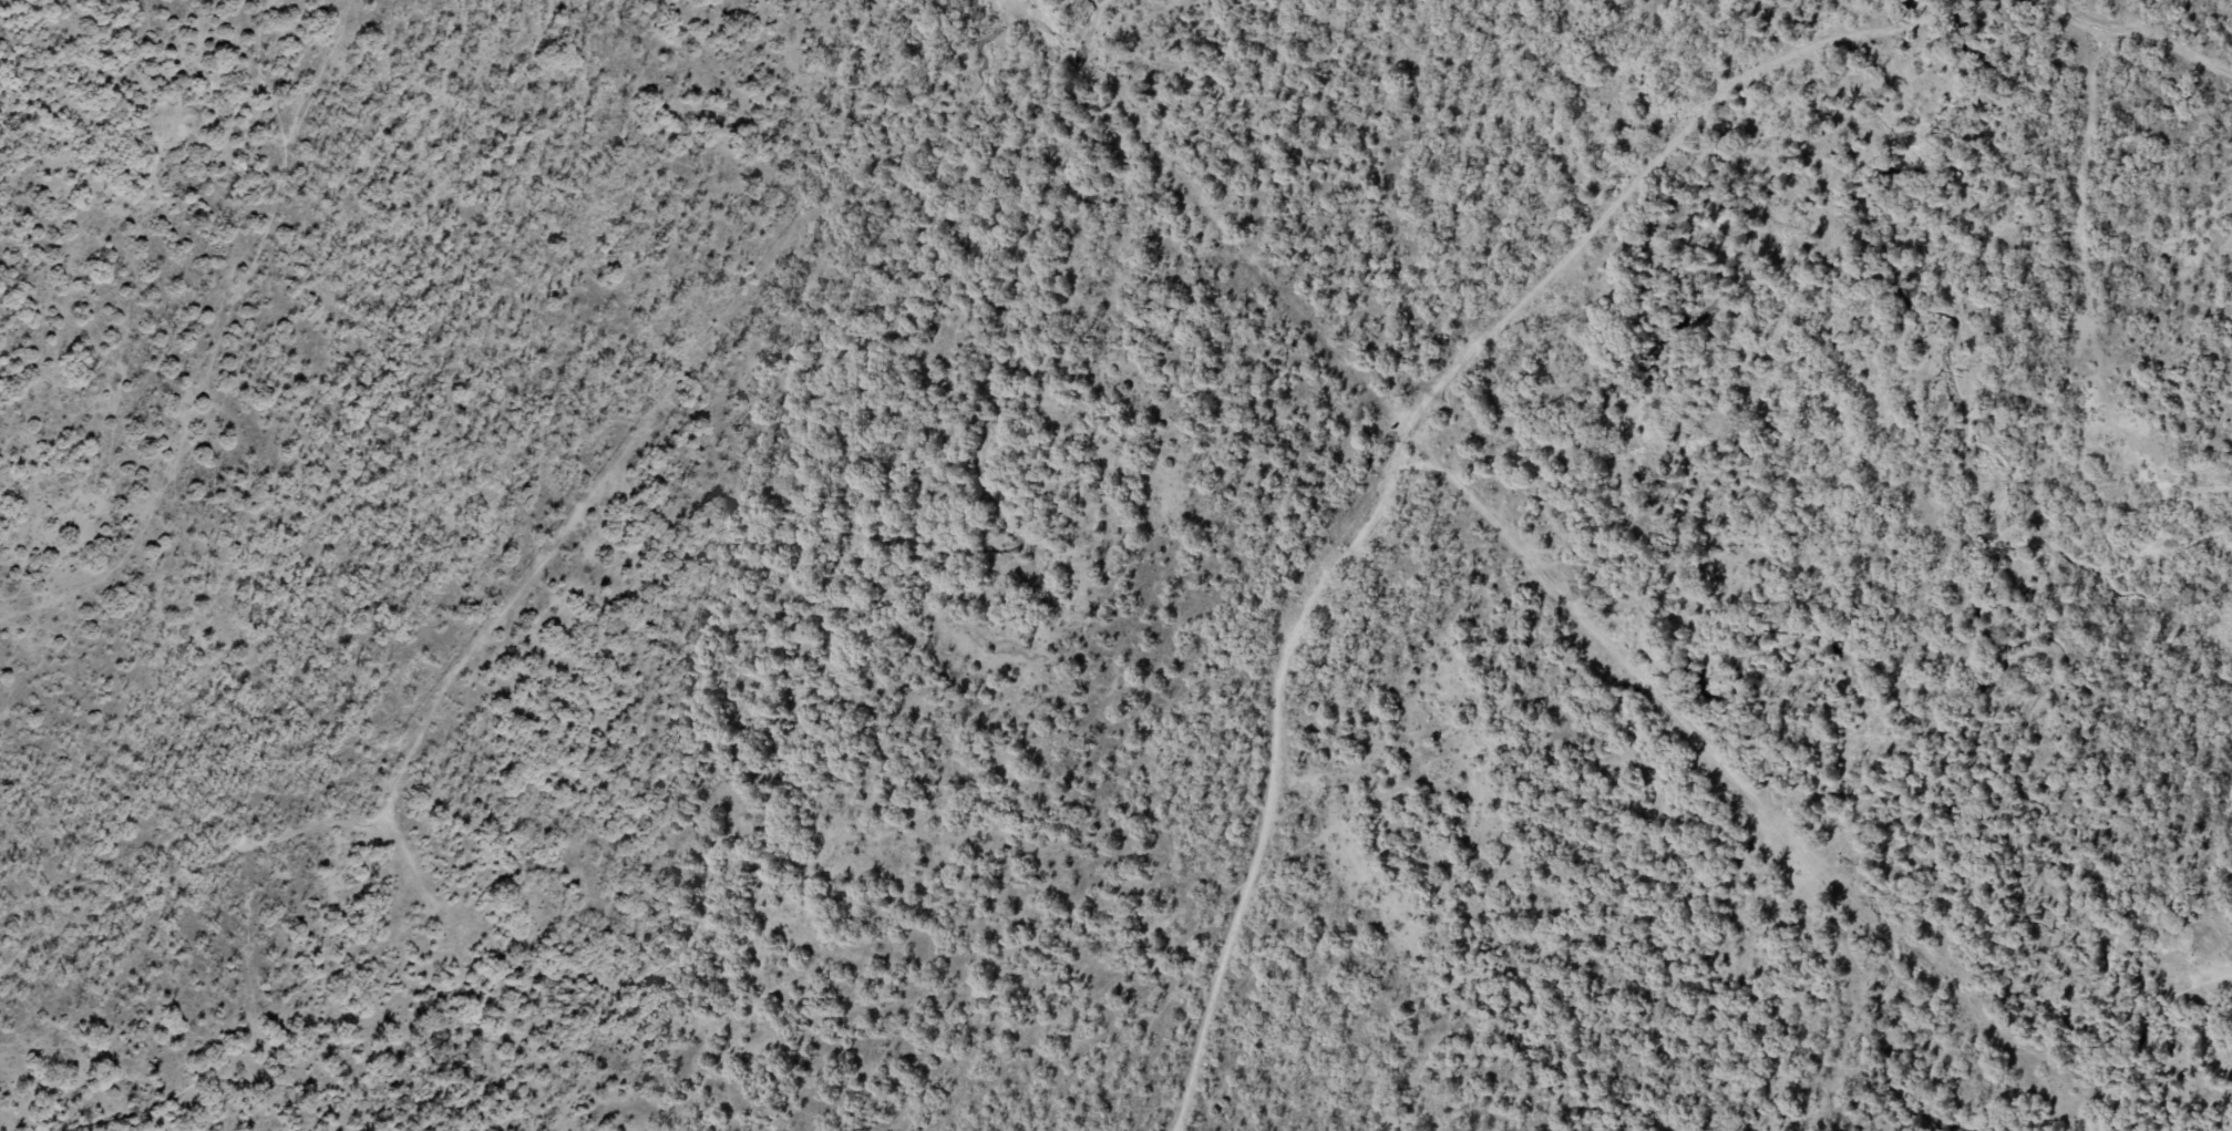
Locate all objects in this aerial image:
road: (2221, 43)
road: (1509, 368)

